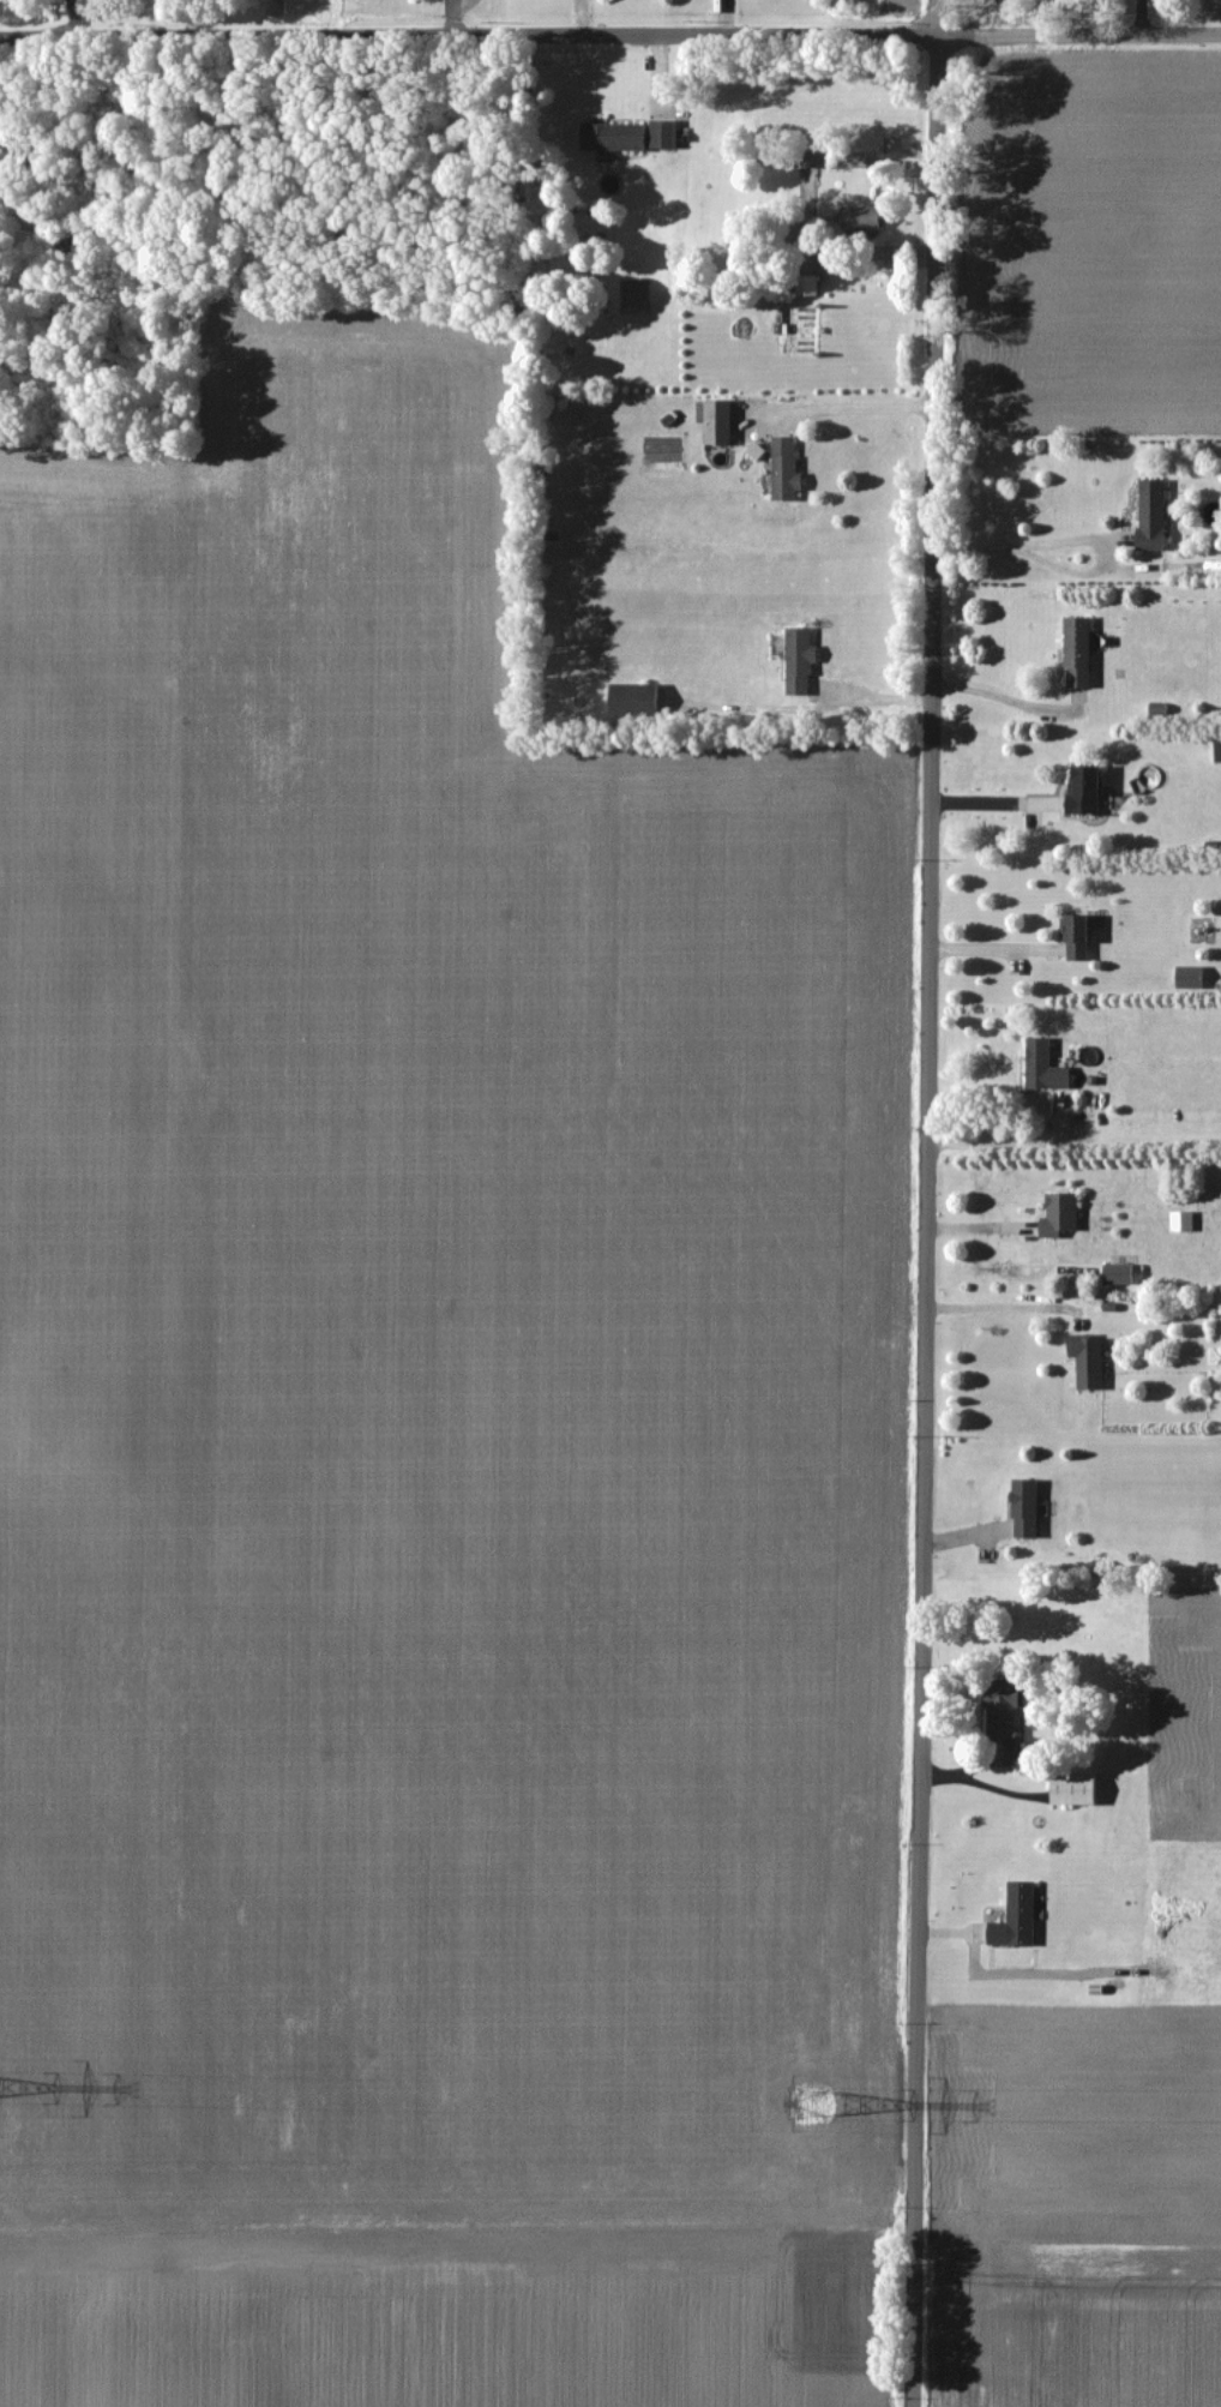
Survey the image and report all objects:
road: (261, 19)
road: (610, 36)
building: (661, 133)
building: (609, 137)
building: (806, 158)
building: (847, 158)
building: (856, 218)
road: (877, 245)
road: (865, 409)
building: (712, 421)
building: (781, 468)
building: (1148, 515)
road: (1076, 540)
building: (1073, 653)
building: (795, 662)
road: (1008, 692)
building: (633, 702)
building: (1215, 751)
building: (1079, 791)
road: (994, 800)
building: (1071, 938)
road: (993, 947)
building: (1040, 1066)
road: (993, 1145)
road: (926, 1202)
building: (1055, 1215)
building: (1114, 1273)
road: (996, 1313)
building: (1083, 1358)
building: (1021, 1507)
building: (1000, 1717)
building: (1069, 1789)
building: (1012, 1917)
power tower: (808, 2101)

